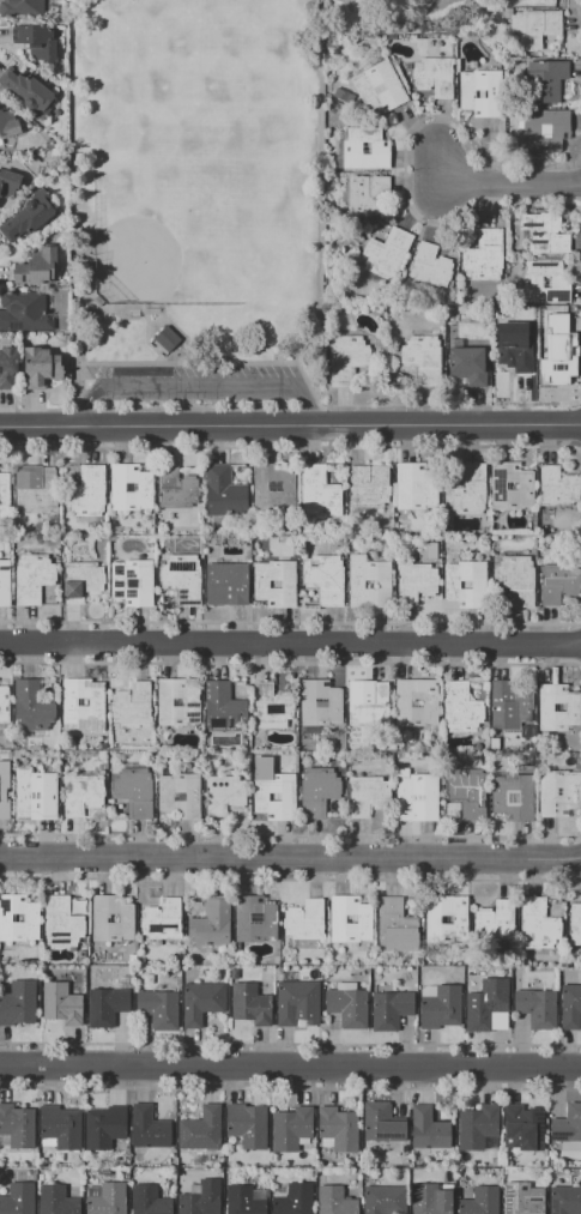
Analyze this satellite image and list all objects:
building: (523, 2)
building: (22, 7)
building: (533, 28)
park: (189, 40)
building: (37, 42)
building: (434, 76)
building: (545, 80)
building: (379, 86)
building: (28, 91)
building: (480, 92)
building: (8, 123)
building: (547, 132)
building: (364, 149)
building: (8, 182)
road: (492, 182)
building: (364, 194)
park: (196, 203)
park: (234, 204)
building: (28, 216)
building: (545, 234)
park: (161, 236)
building: (386, 253)
building: (484, 254)
building: (36, 267)
building: (430, 267)
building: (561, 284)
road: (140, 306)
building: (24, 310)
building: (165, 339)
building: (525, 343)
road: (84, 350)
road: (157, 351)
building: (557, 351)
building: (347, 357)
building: (423, 358)
building: (7, 366)
building: (41, 366)
building: (467, 366)
parking lot: (196, 380)
road: (198, 387)
road: (290, 427)
building: (369, 485)
building: (510, 485)
building: (36, 487)
building: (273, 487)
building: (414, 487)
building: (557, 487)
building: (129, 488)
building: (176, 489)
building: (466, 490)
building: (4, 491)
building: (86, 491)
building: (319, 491)
building: (224, 493)
building: (32, 578)
building: (182, 578)
building: (325, 578)
building: (274, 579)
building: (515, 579)
building: (81, 581)
building: (132, 581)
building: (5, 582)
building: (416, 582)
building: (558, 582)
building: (228, 584)
building: (356, 584)
building: (465, 584)
road: (290, 642)
building: (81, 702)
building: (164, 702)
building: (320, 702)
building: (403, 702)
building: (132, 703)
building: (4, 705)
building: (370, 705)
building: (508, 706)
building: (32, 707)
building: (223, 707)
building: (460, 707)
building: (259, 708)
building: (558, 708)
building: (317, 790)
building: (272, 791)
building: (1, 792)
building: (134, 792)
building: (467, 792)
building: (558, 792)
building: (81, 793)
building: (225, 793)
building: (367, 795)
building: (35, 796)
building: (165, 796)
building: (416, 796)
building: (513, 796)
road: (290, 858)
building: (30, 918)
building: (126, 918)
building: (337, 918)
building: (447, 918)
building: (162, 919)
building: (254, 919)
building: (61, 920)
building: (304, 920)
building: (494, 920)
building: (211, 923)
building: (394, 924)
building: (537, 924)
building: (575, 924)
building: (202, 1002)
building: (18, 1003)
building: (61, 1003)
building: (249, 1003)
building: (297, 1003)
building: (105, 1005)
building: (347, 1007)
building: (441, 1007)
building: (570, 1007)
building: (158, 1008)
building: (537, 1008)
building: (391, 1009)
building: (484, 1010)
road: (290, 1068)
building: (381, 1123)
building: (247, 1124)
building: (567, 1124)
building: (17, 1125)
building: (61, 1127)
building: (104, 1127)
building: (147, 1127)
building: (477, 1127)
building: (201, 1128)
building: (291, 1128)
building: (522, 1128)
building: (428, 1129)
building: (337, 1130)
building: (201, 1197)
building: (17, 1198)
building: (385, 1198)
building: (522, 1198)
building: (56, 1200)
building: (107, 1200)
building: (244, 1200)
building: (293, 1200)
building: (430, 1200)
building: (564, 1200)
building: (149, 1201)
building: (334, 1201)
building: (480, 1201)

